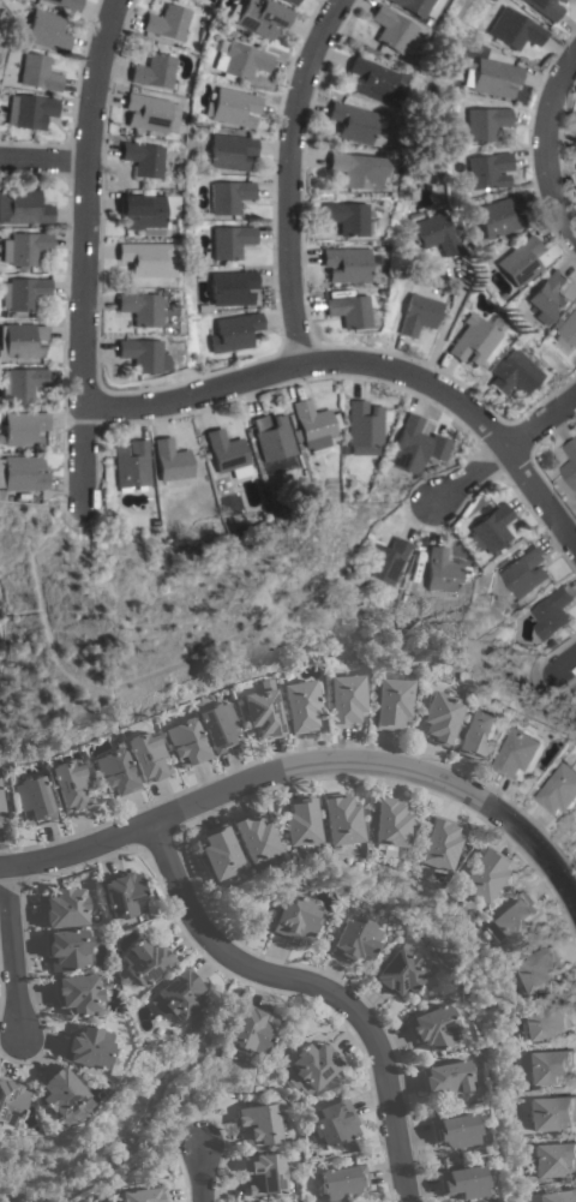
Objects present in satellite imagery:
building: (289, 1)
building: (559, 1)
building: (61, 4)
building: (413, 7)
building: (545, 8)
building: (258, 17)
building: (168, 23)
building: (386, 29)
building: (515, 29)
building: (38, 30)
building: (240, 62)
building: (151, 72)
building: (32, 73)
building: (491, 77)
building: (365, 79)
building: (233, 108)
building: (23, 110)
building: (148, 113)
building: (486, 122)
building: (352, 125)
road: (553, 143)
building: (575, 144)
building: (232, 153)
building: (139, 159)
road: (40, 162)
building: (354, 171)
building: (488, 171)
road: (292, 179)
building: (229, 197)
building: (20, 208)
building: (138, 214)
building: (500, 216)
building: (346, 219)
building: (433, 234)
building: (230, 241)
building: (20, 249)
road: (80, 249)
building: (145, 259)
building: (520, 262)
building: (347, 265)
building: (233, 287)
building: (20, 294)
building: (548, 298)
building: (142, 310)
building: (348, 311)
building: (418, 315)
building: (235, 331)
building: (568, 331)
building: (20, 340)
building: (473, 341)
building: (142, 355)
building: (512, 373)
road: (355, 377)
building: (20, 383)
building: (311, 425)
building: (22, 427)
building: (364, 427)
building: (272, 441)
building: (410, 442)
building: (227, 454)
road: (512, 456)
building: (570, 461)
building: (172, 464)
building: (132, 467)
building: (22, 474)
building: (1, 495)
building: (491, 530)
building: (384, 563)
building: (439, 570)
building: (524, 572)
building: (551, 612)
road: (570, 660)
building: (346, 699)
building: (390, 700)
building: (301, 705)
building: (263, 712)
building: (439, 717)
building: (218, 725)
building: (478, 732)
building: (187, 742)
building: (522, 752)
building: (148, 755)
road: (306, 764)
building: (116, 771)
building: (71, 785)
building: (560, 790)
building: (34, 799)
building: (1, 813)
building: (340, 819)
building: (299, 823)
building: (389, 824)
building: (253, 838)
building: (438, 844)
building: (218, 853)
building: (482, 873)
building: (124, 893)
building: (65, 907)
building: (515, 917)
building: (296, 919)
building: (354, 938)
building: (67, 949)
road: (10, 950)
building: (145, 961)
building: (534, 969)
building: (398, 971)
road: (311, 987)
building: (78, 993)
building: (180, 994)
building: (546, 1021)
building: (433, 1027)
building: (250, 1028)
building: (88, 1047)
building: (312, 1065)
building: (548, 1065)
building: (446, 1077)
building: (62, 1095)
building: (10, 1101)
road: (149, 1101)
road: (170, 1105)
building: (552, 1112)
building: (335, 1122)
building: (262, 1124)
building: (454, 1130)
building: (553, 1159)
road: (199, 1167)
building: (265, 1173)
building: (343, 1182)
building: (462, 1182)
building: (144, 1195)
building: (558, 1196)
road: (2, 1201)

